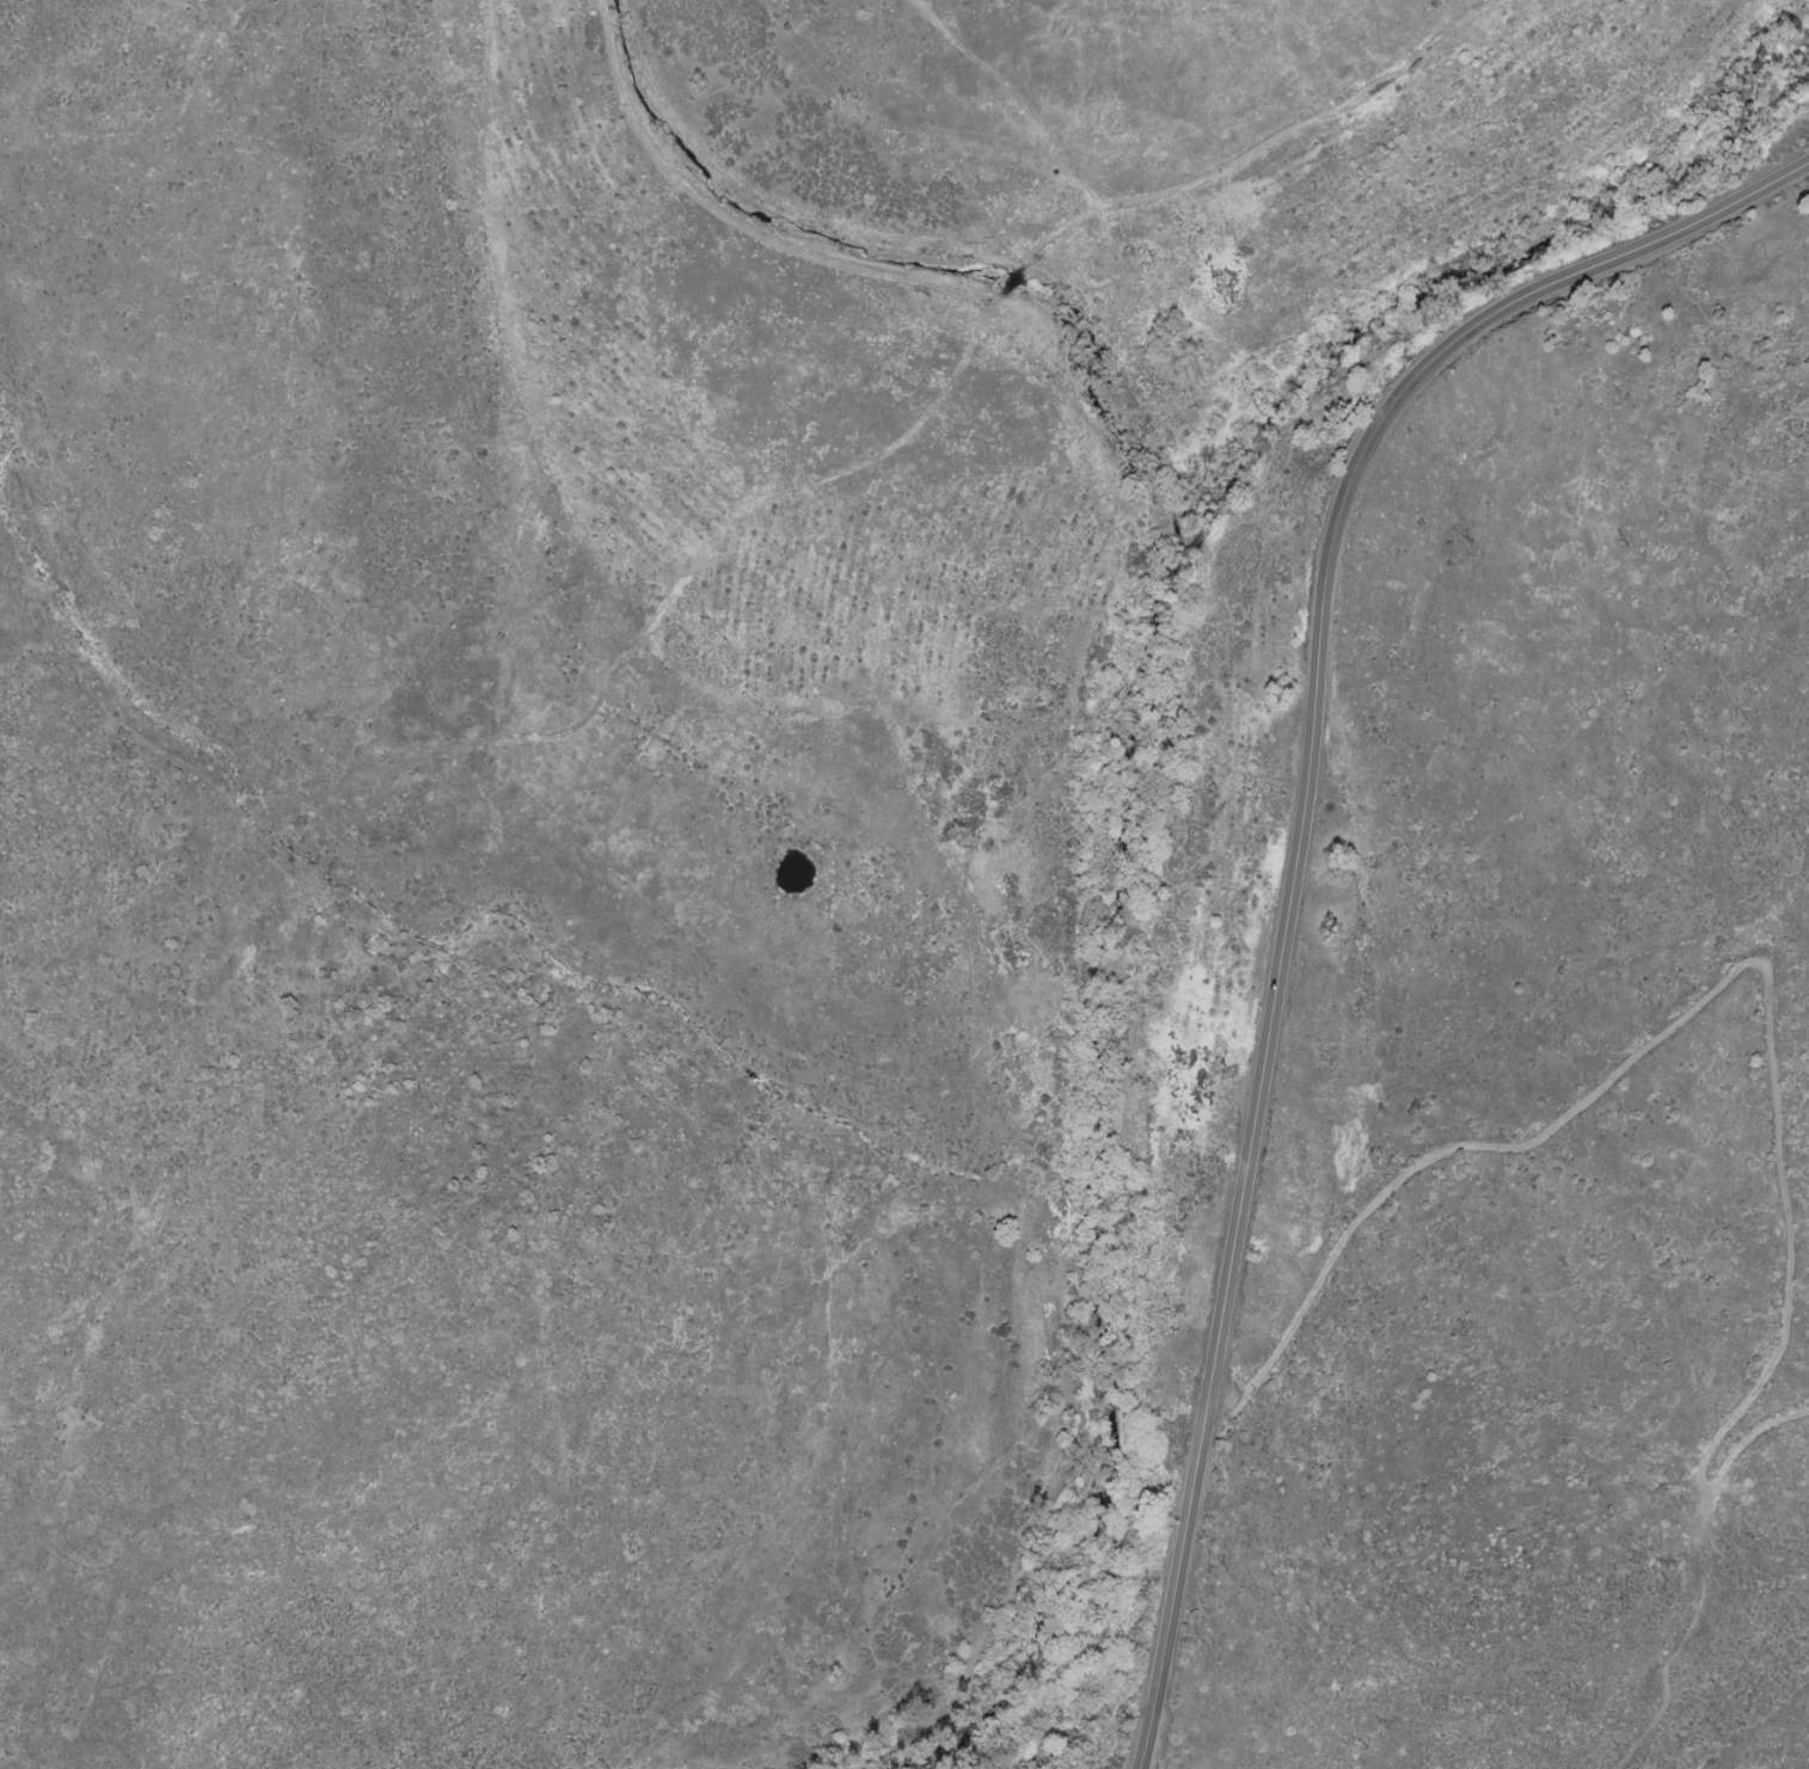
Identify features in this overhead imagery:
road: (1019, 96)
road: (1016, 275)
road: (1302, 854)
road: (1755, 989)

